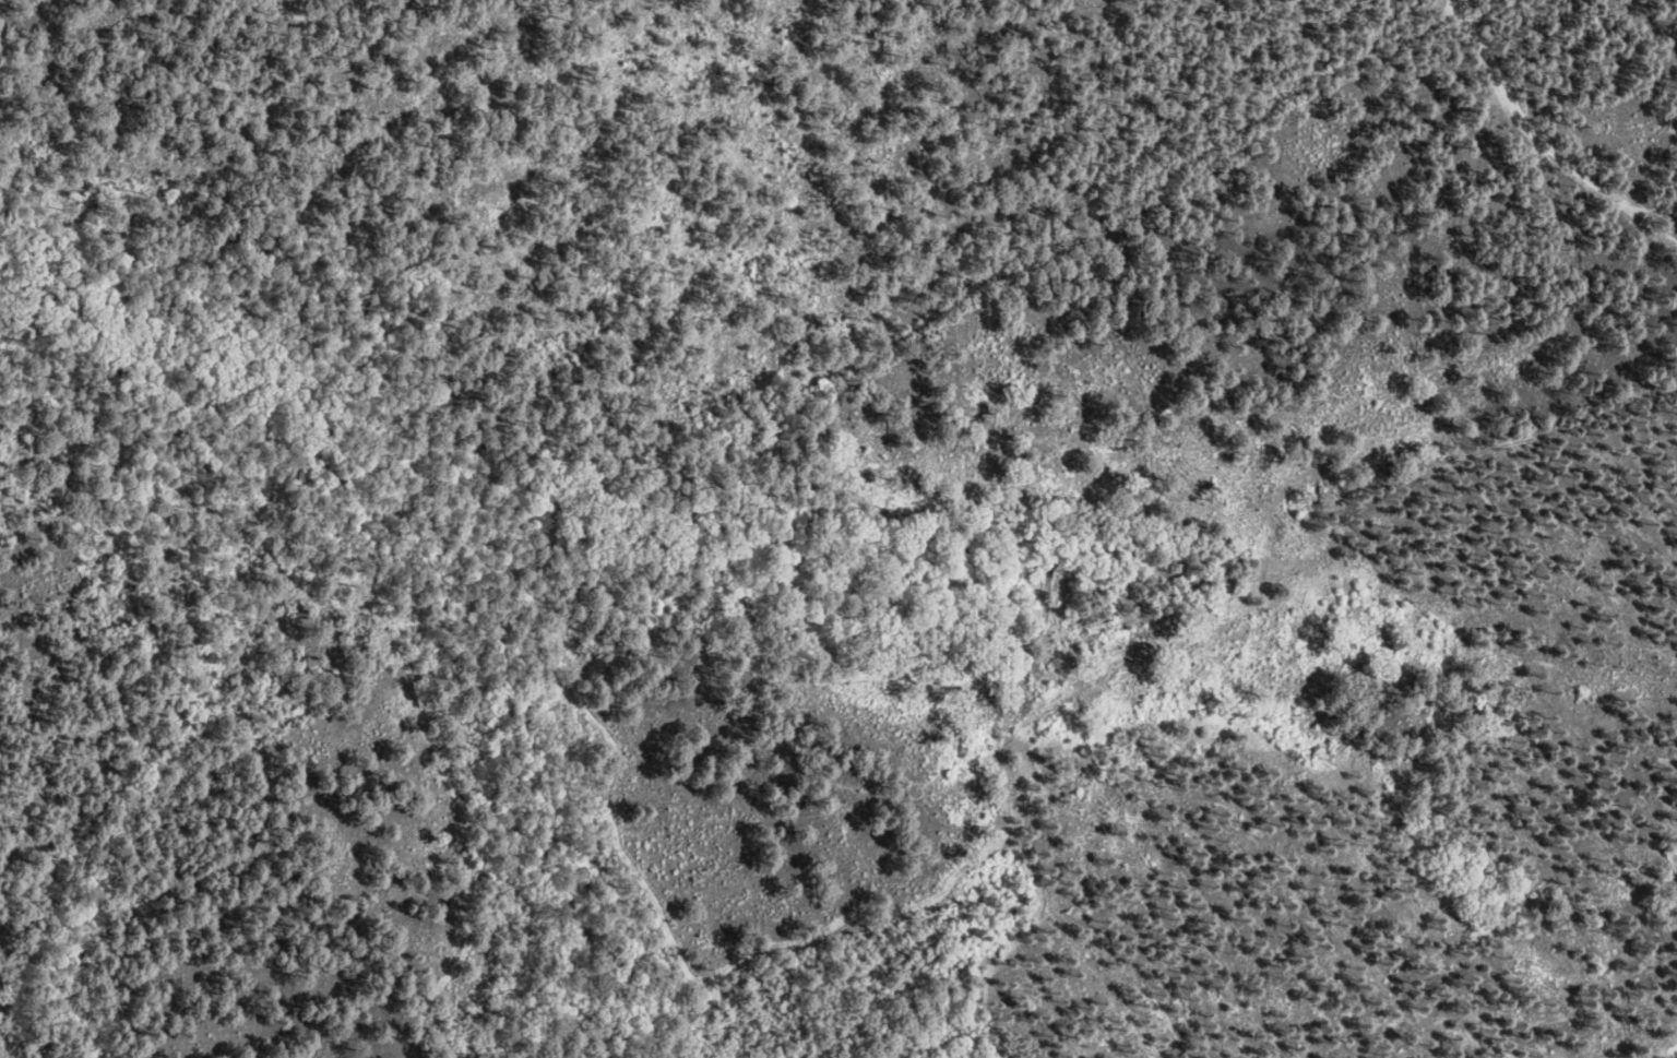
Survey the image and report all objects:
road: (1541, 144)
road: (1661, 1045)

